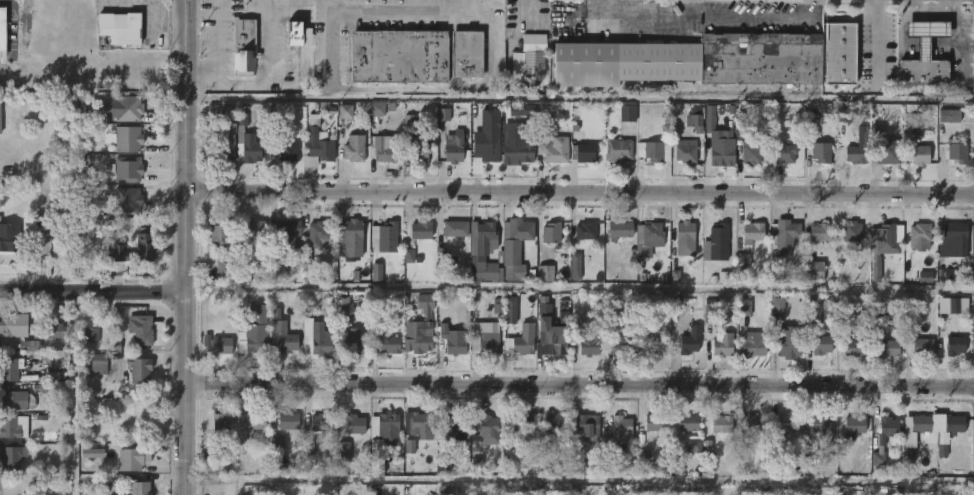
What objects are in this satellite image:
road: (421, 7)
road: (407, 14)
road: (648, 17)
road: (749, 18)
building: (126, 31)
building: (295, 33)
road: (270, 36)
road: (336, 43)
building: (2, 46)
building: (244, 47)
road: (218, 49)
building: (844, 52)
building: (469, 53)
building: (533, 53)
building: (921, 54)
building: (400, 55)
building: (693, 60)
road: (239, 83)
building: (127, 108)
building: (377, 109)
building: (345, 111)
building: (515, 111)
building: (217, 113)
building: (628, 113)
building: (444, 114)
building: (845, 115)
building: (949, 116)
building: (0, 118)
building: (695, 122)
building: (911, 125)
building: (809, 130)
building: (126, 138)
building: (247, 142)
building: (550, 143)
building: (354, 148)
building: (487, 148)
building: (220, 149)
building: (400, 150)
building: (453, 150)
building: (724, 150)
building: (751, 150)
building: (888, 150)
building: (318, 151)
building: (619, 151)
building: (654, 151)
building: (286, 152)
building: (583, 152)
building: (821, 152)
building: (518, 153)
building: (786, 153)
building: (958, 153)
building: (686, 154)
building: (920, 154)
building: (856, 155)
building: (126, 169)
road: (581, 192)
building: (127, 199)
building: (253, 229)
building: (455, 229)
building: (421, 230)
building: (620, 230)
building: (585, 231)
building: (853, 231)
building: (551, 232)
building: (288, 233)
building: (517, 233)
building: (750, 233)
building: (820, 233)
building: (350, 234)
building: (318, 235)
building: (9, 236)
building: (921, 236)
building: (383, 238)
building: (685, 238)
building: (785, 238)
building: (956, 238)
building: (649, 239)
building: (222, 244)
building: (479, 244)
building: (716, 244)
building: (883, 244)
building: (146, 247)
road: (189, 247)
building: (409, 256)
building: (575, 266)
building: (278, 268)
building: (813, 271)
building: (310, 272)
building: (376, 272)
building: (545, 273)
building: (952, 275)
building: (925, 277)
road: (95, 294)
building: (425, 304)
building: (778, 305)
building: (954, 305)
building: (497, 306)
building: (744, 308)
building: (510, 310)
building: (711, 312)
building: (9, 325)
building: (140, 328)
building: (54, 331)
building: (252, 331)
building: (91, 335)
building: (419, 336)
building: (554, 336)
building: (284, 337)
building: (115, 339)
building: (322, 340)
building: (452, 340)
building: (585, 341)
building: (690, 341)
building: (489, 343)
building: (618, 343)
building: (656, 344)
building: (821, 344)
building: (29, 345)
building: (390, 345)
building: (523, 345)
building: (221, 346)
building: (354, 346)
building: (723, 346)
building: (788, 346)
building: (955, 346)
building: (920, 347)
building: (751, 348)
building: (855, 348)
building: (890, 348)
building: (99, 364)
building: (9, 368)
building: (138, 368)
road: (581, 386)
building: (17, 399)
building: (287, 419)
building: (388, 419)
building: (321, 421)
building: (521, 421)
building: (654, 421)
building: (689, 421)
building: (822, 421)
building: (553, 422)
building: (790, 422)
building: (954, 422)
building: (221, 423)
building: (354, 423)
building: (921, 423)
building: (418, 424)
building: (455, 424)
building: (723, 424)
building: (750, 424)
building: (854, 425)
building: (8, 426)
building: (247, 426)
building: (588, 426)
building: (485, 428)
building: (888, 428)
building: (616, 440)
building: (278, 444)
building: (409, 446)
building: (694, 446)
building: (707, 447)
building: (308, 449)
building: (343, 451)
building: (211, 452)
building: (93, 453)
building: (909, 455)
building: (10, 456)
building: (133, 457)
building: (878, 458)
building: (677, 465)
building: (139, 487)
building: (894, 491)

